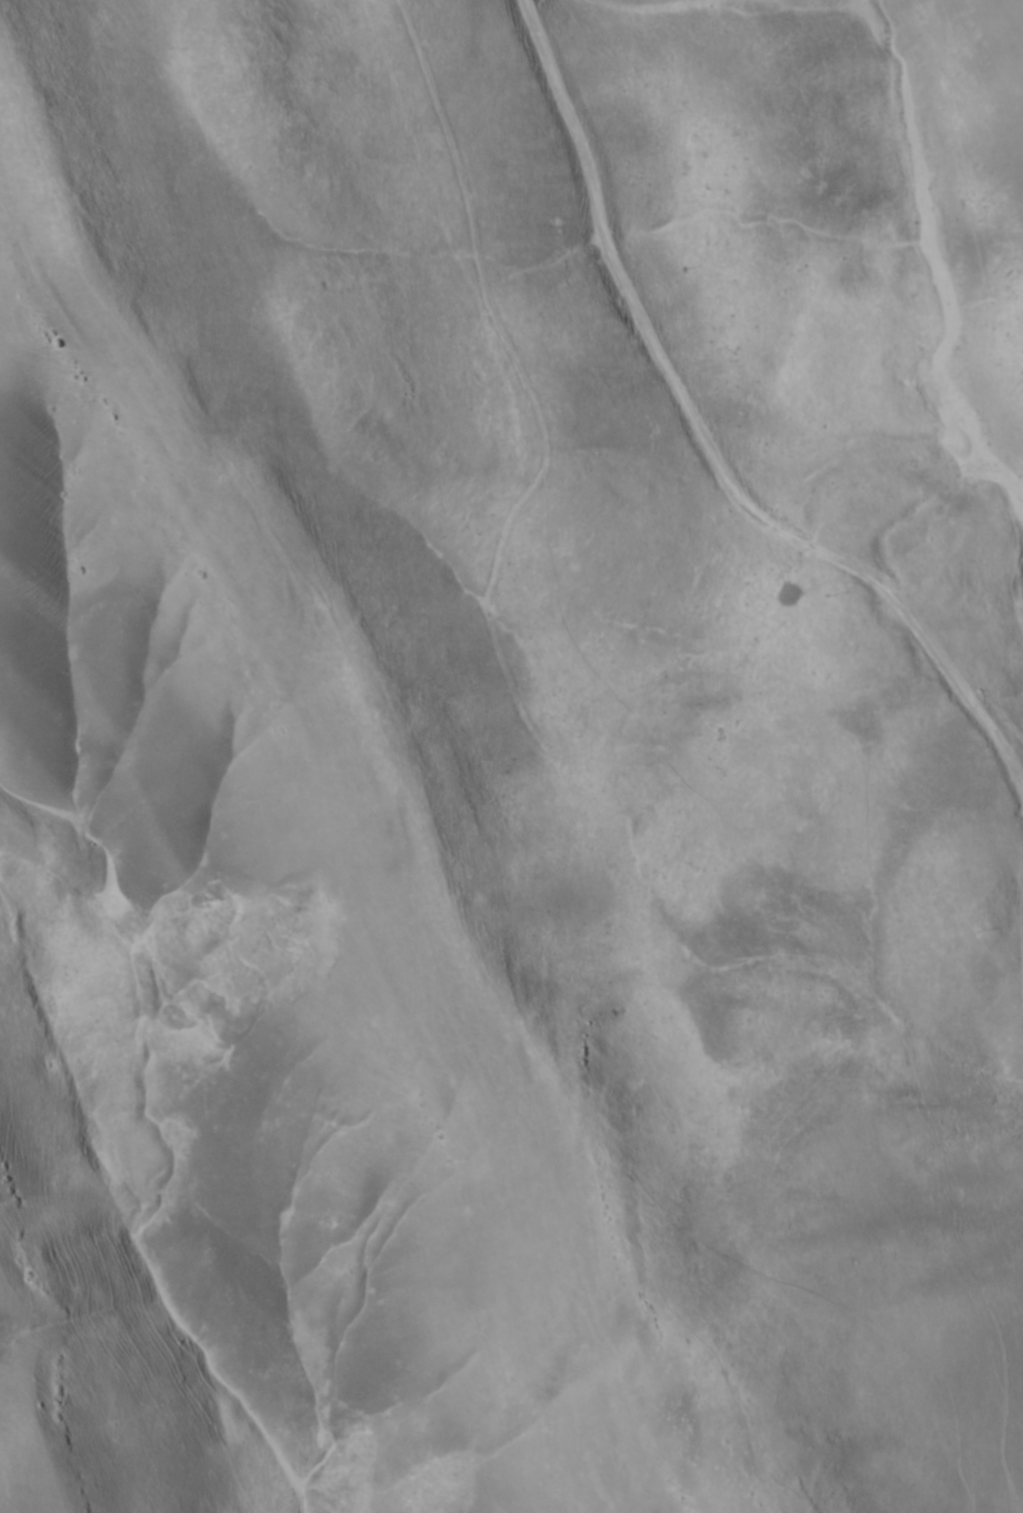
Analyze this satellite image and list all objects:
road: (708, 446)

